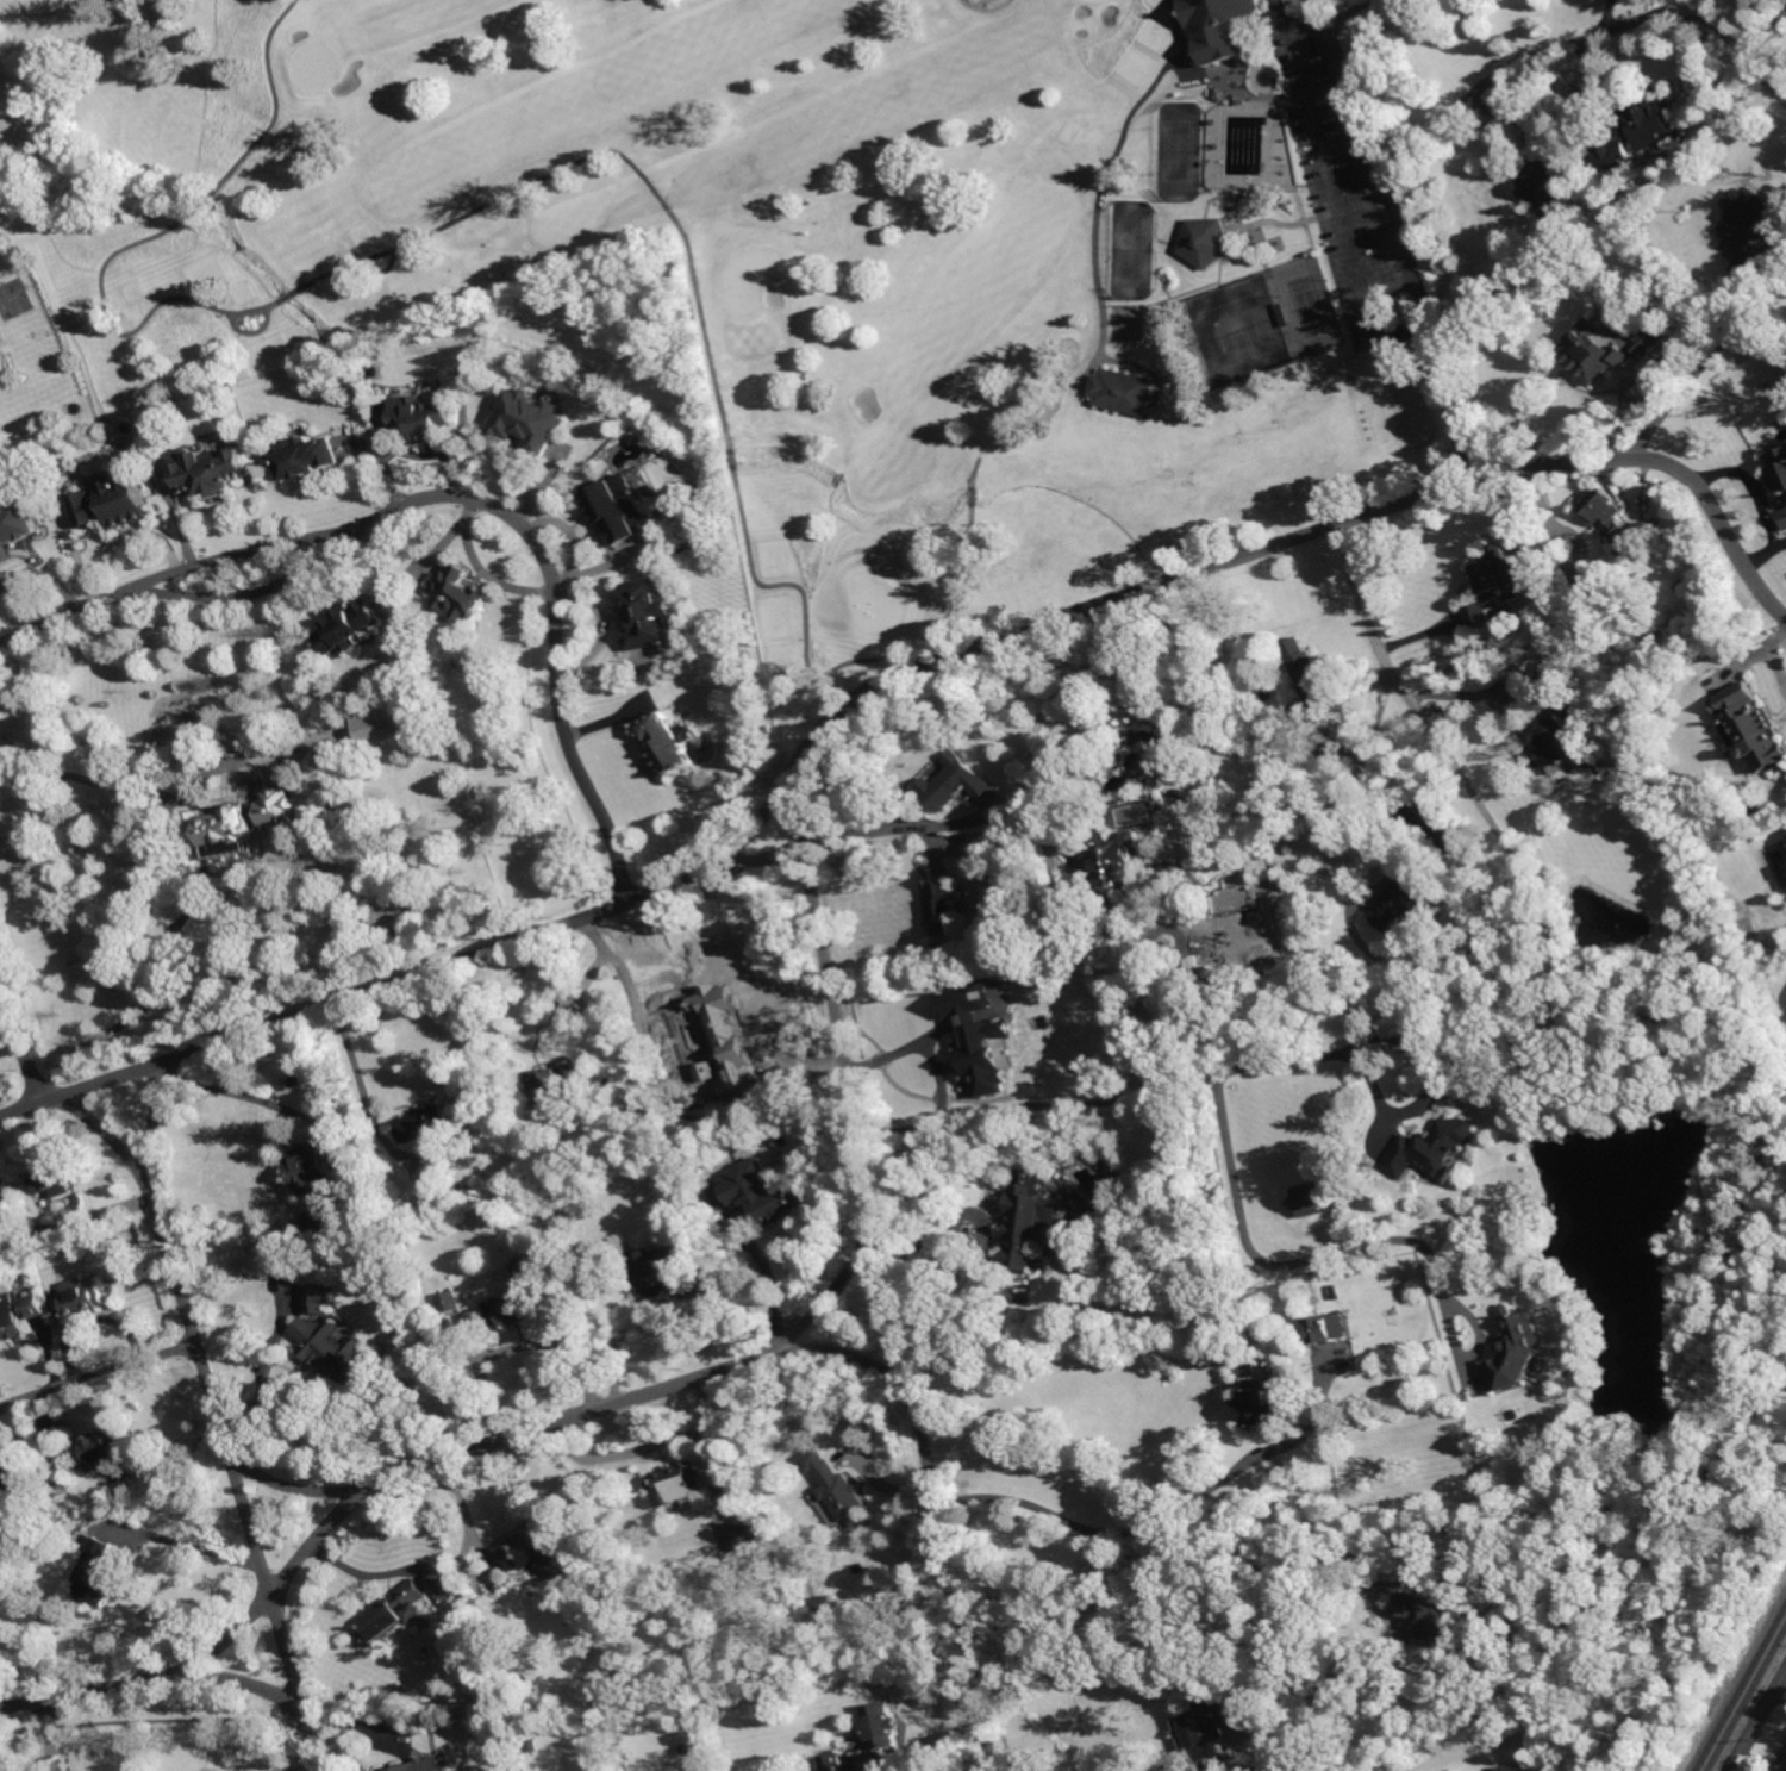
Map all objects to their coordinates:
road: (1349, 12)
road: (1604, 18)
road: (1294, 27)
building: (1220, 29)
road: (1769, 33)
road: (1580, 42)
building: (1200, 93)
building: (1641, 133)
building: (1580, 176)
road: (1336, 183)
building: (1545, 183)
building: (1749, 220)
road: (1403, 233)
road: (1775, 239)
park: (814, 241)
building: (1209, 242)
building: (1747, 269)
building: (1609, 348)
road: (1703, 364)
building: (1124, 392)
building: (425, 417)
building: (531, 419)
building: (307, 456)
road: (1666, 466)
building: (1779, 469)
building: (208, 472)
road: (454, 494)
road: (1755, 499)
building: (114, 501)
building: (619, 509)
building: (1610, 513)
building: (1782, 518)
building: (15, 523)
road: (132, 536)
road: (74, 549)
road: (45, 572)
building: (1495, 585)
building: (461, 593)
building: (1595, 597)
building: (651, 617)
road: (1063, 617)
building: (350, 628)
road: (1774, 651)
building: (1311, 672)
building: (1553, 672)
road: (1468, 693)
building: (385, 727)
building: (1753, 728)
building: (1561, 743)
building: (668, 744)
building: (1329, 759)
road: (1465, 778)
building: (958, 780)
road: (1041, 782)
building: (277, 806)
building: (227, 831)
road: (855, 834)
building: (1785, 836)
building: (1118, 860)
road: (157, 894)
building: (945, 903)
building: (1401, 903)
building: (1235, 913)
building: (1048, 938)
building: (1267, 958)
building: (1269, 980)
road: (366, 993)
road: (632, 997)
building: (1203, 1004)
building: (711, 1027)
road: (21, 1035)
building: (981, 1039)
road: (925, 1044)
building: (741, 1061)
road: (1234, 1064)
building: (549, 1086)
road: (368, 1089)
road: (246, 1095)
building: (700, 1118)
building: (426, 1127)
building: (1438, 1145)
building: (310, 1171)
building: (713, 1177)
building: (51, 1180)
building: (438, 1192)
building: (1318, 1197)
building: (785, 1204)
building: (1033, 1228)
building: (336, 1231)
building: (46, 1234)
building: (312, 1241)
road: (1307, 1248)
road: (768, 1267)
building: (657, 1273)
building: (43, 1276)
road: (892, 1277)
building: (1311, 1295)
building: (82, 1299)
building: (318, 1299)
road: (662, 1299)
building: (449, 1303)
building: (514, 1309)
building: (10, 1318)
building: (1326, 1327)
road: (958, 1328)
road: (785, 1339)
road: (520, 1343)
building: (335, 1352)
building: (1515, 1352)
road: (99, 1376)
building: (1261, 1398)
road: (223, 1423)
building: (105, 1448)
road: (647, 1448)
building: (11, 1471)
building: (61, 1482)
building: (677, 1484)
road: (294, 1485)
road: (358, 1492)
building: (841, 1493)
building: (100, 1501)
road: (1144, 1526)
building: (748, 1538)
road: (194, 1545)
building: (533, 1551)
building: (1086, 1551)
building: (96, 1571)
road: (368, 1573)
road: (1181, 1586)
building: (1318, 1601)
building: (823, 1604)
building: (888, 1611)
building: (392, 1614)
building: (1432, 1615)
road: (252, 1682)
road: (1784, 1686)
railway: (1742, 1690)
railway: (1748, 1701)
building: (1205, 1722)
road: (1760, 1723)
building: (882, 1728)
road: (51, 1735)
building: (1537, 1742)
building: (532, 1745)
building: (832, 1761)
road: (1780, 1761)
building: (804, 1763)
building: (425, 1765)
building: (1513, 1767)
building: (1785, 1769)

